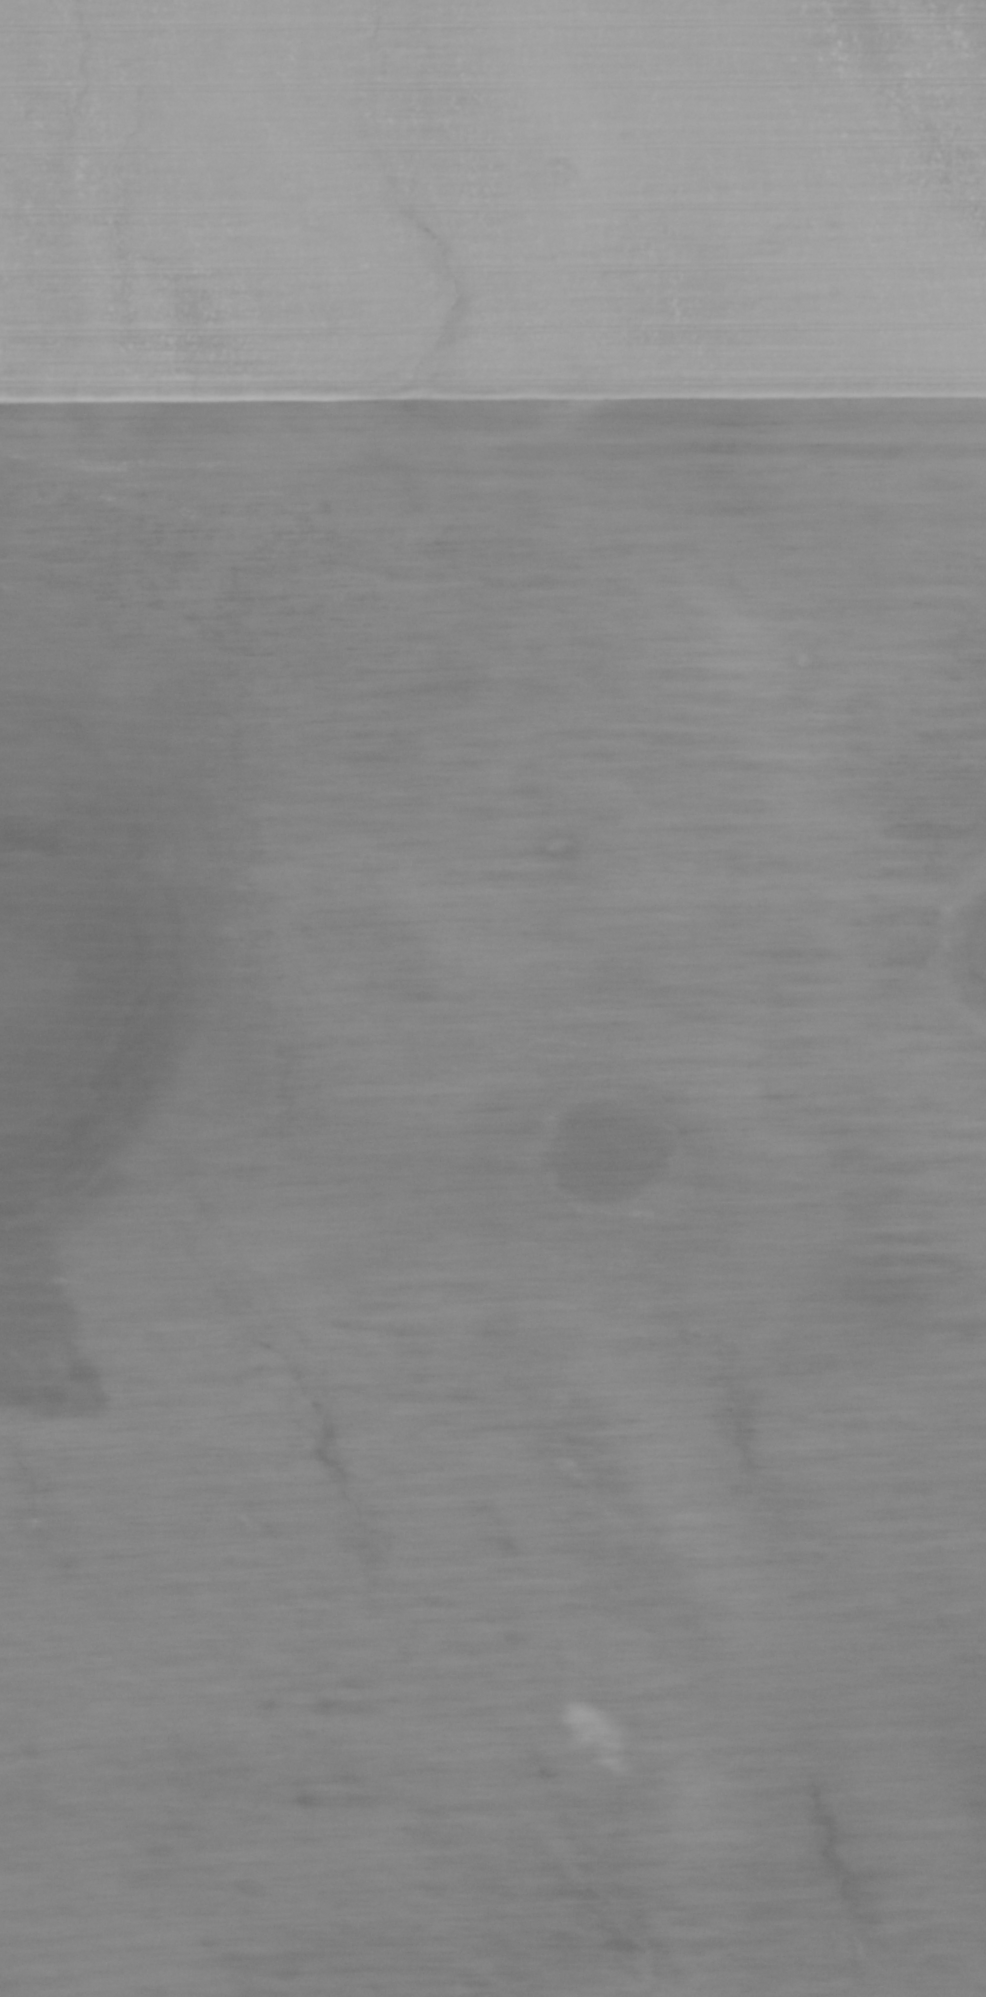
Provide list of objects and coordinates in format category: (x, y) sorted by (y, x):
crop: (493, 998)

